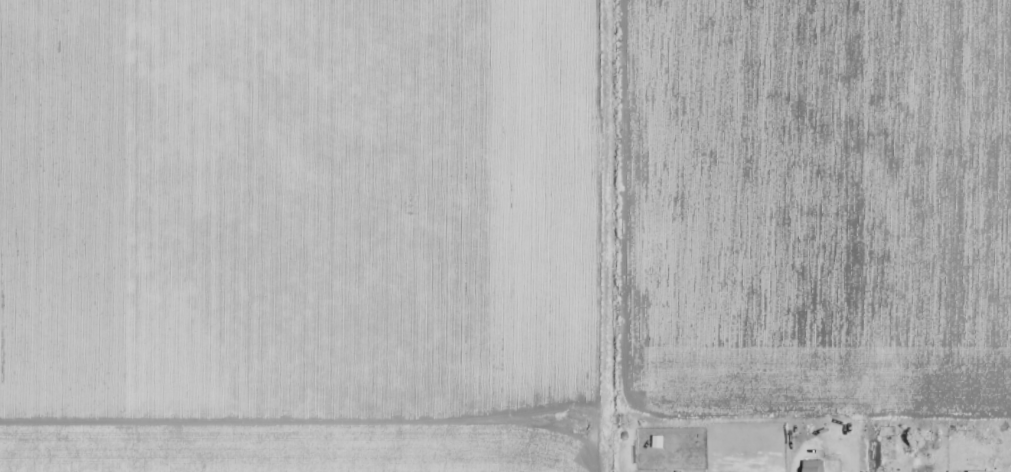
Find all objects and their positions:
building: (658, 442)
building: (979, 464)
building: (814, 466)

